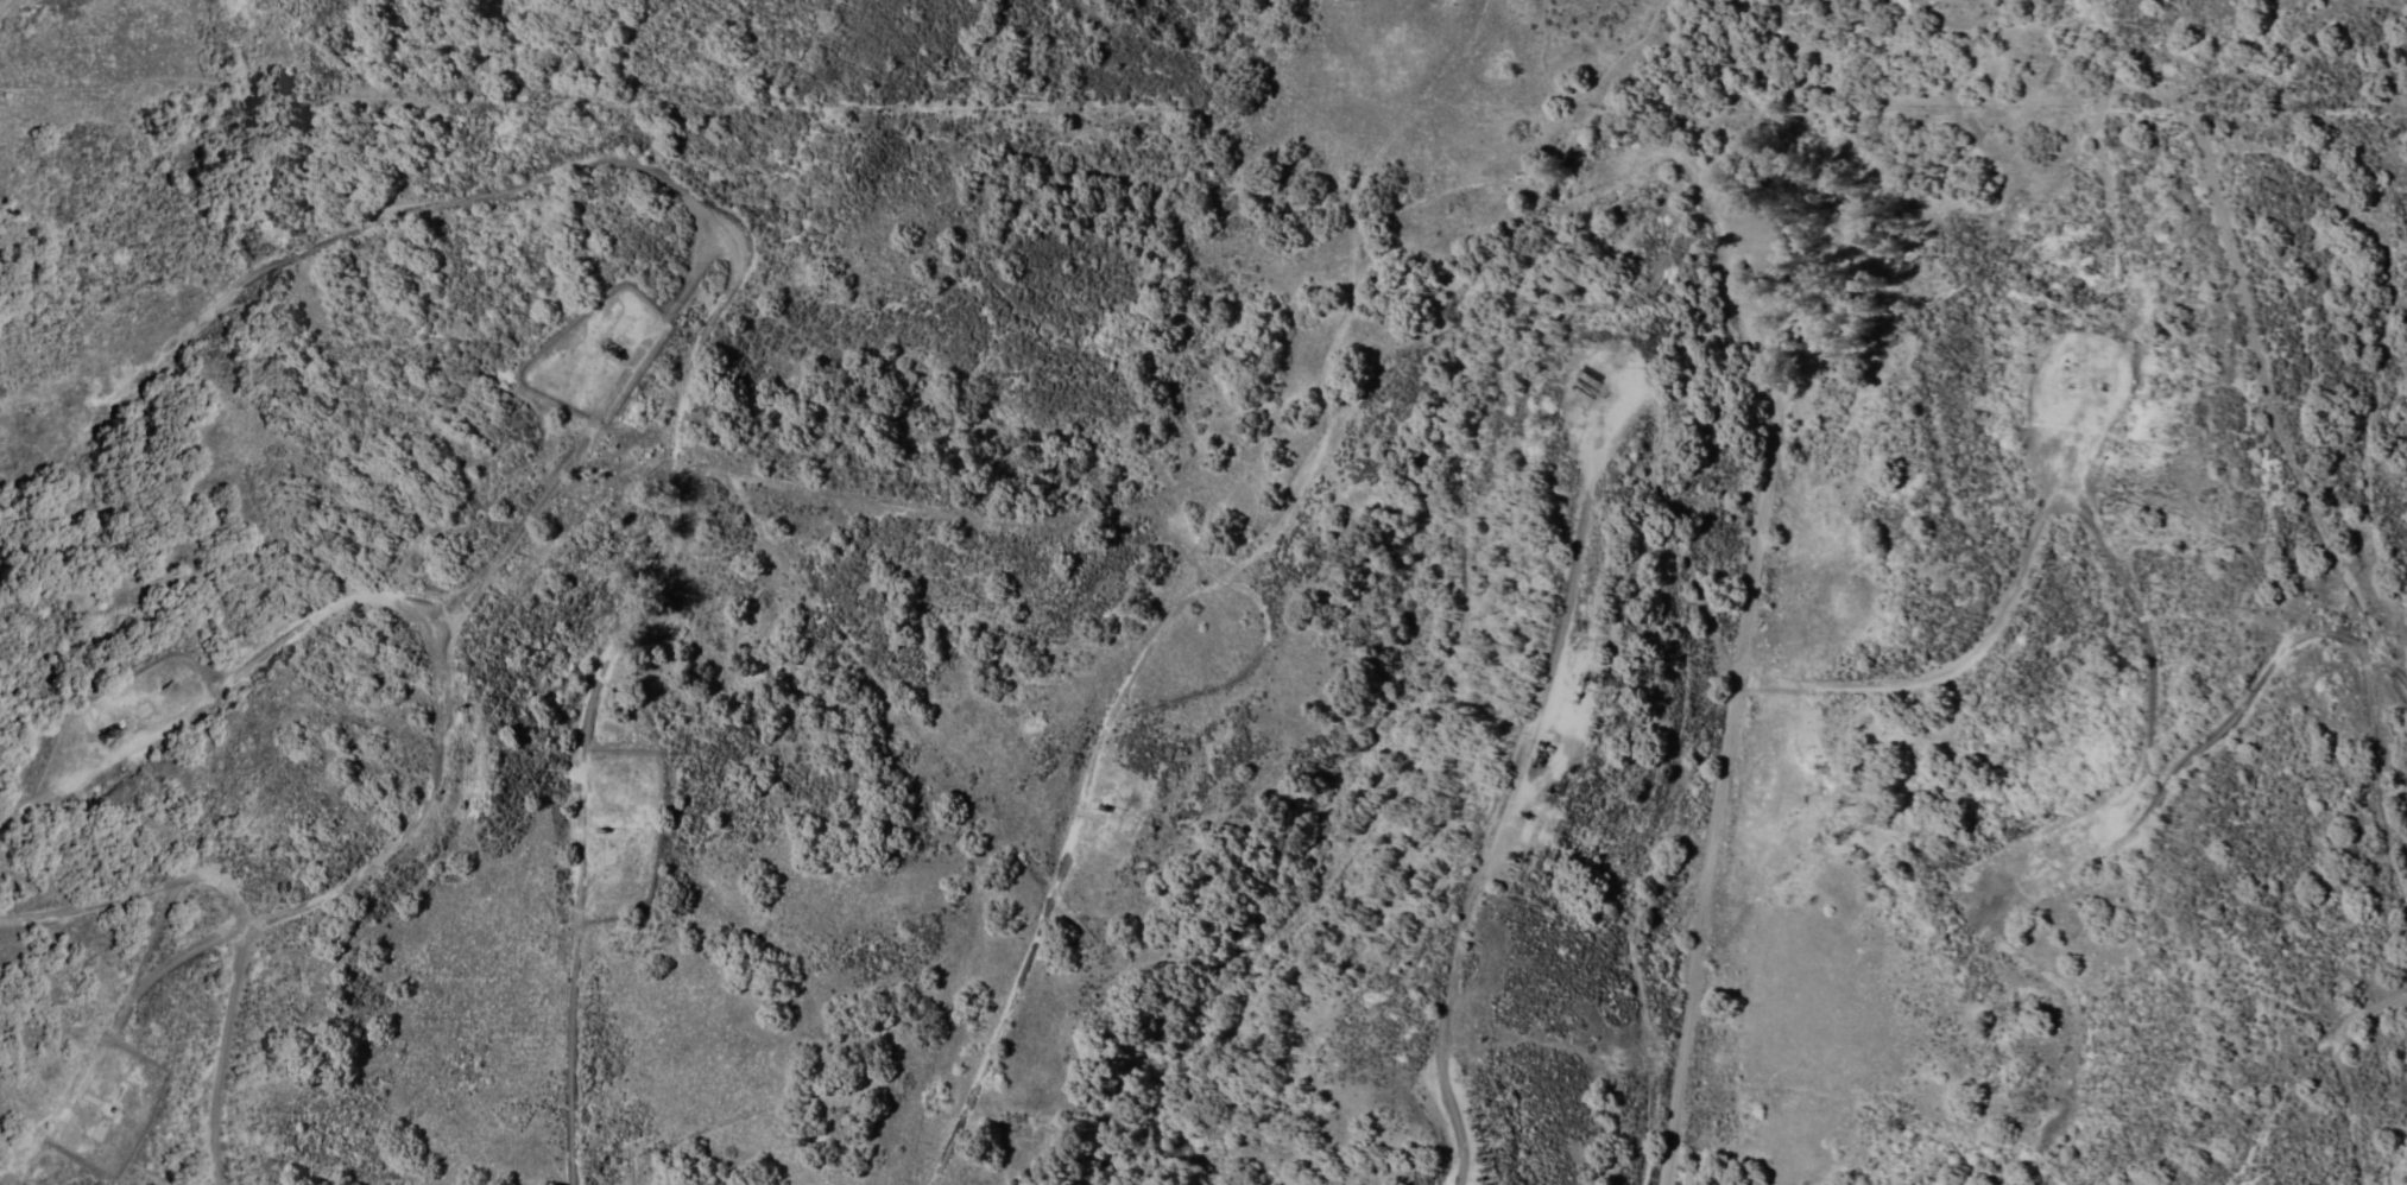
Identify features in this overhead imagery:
road: (4, 4)
road: (1457, 49)
road: (124, 303)
road: (1635, 387)
road: (600, 410)
road: (682, 432)
road: (1761, 500)
road: (2014, 585)
road: (388, 601)
road: (2149, 658)
road: (2223, 723)
road: (2377, 774)
road: (1055, 875)
road: (140, 889)
road: (152, 976)
road: (223, 1056)

